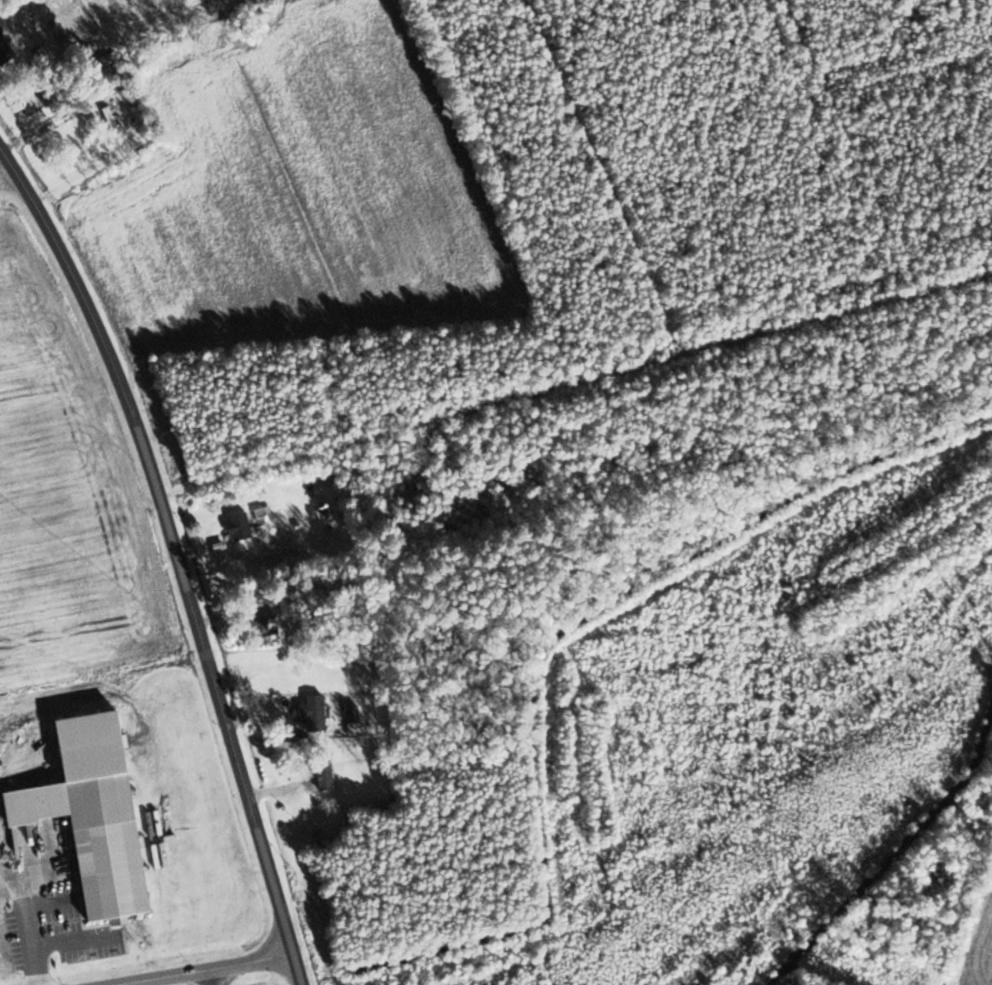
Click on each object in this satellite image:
building: (4, 48)
building: (34, 105)
road: (421, 426)
building: (264, 513)
building: (239, 525)
road: (178, 553)
building: (264, 624)
building: (314, 712)
building: (355, 728)
building: (325, 773)
building: (153, 811)
building: (105, 846)
road: (21, 925)
road: (204, 969)

